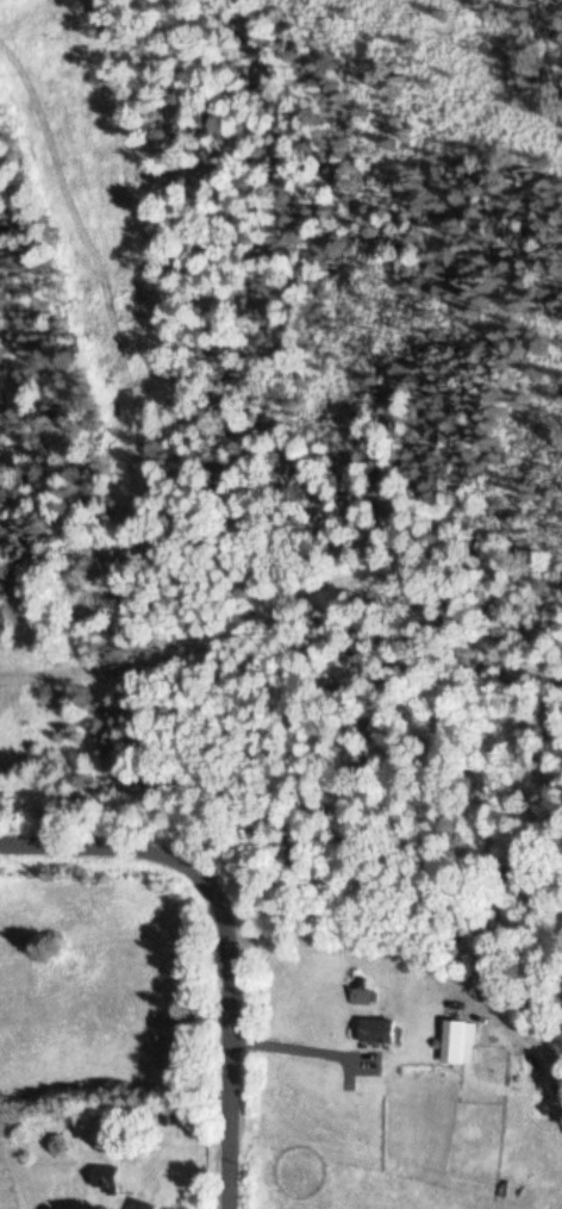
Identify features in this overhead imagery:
road: (277, 605)
road: (231, 933)
building: (381, 1029)
building: (460, 1040)
building: (106, 1177)

